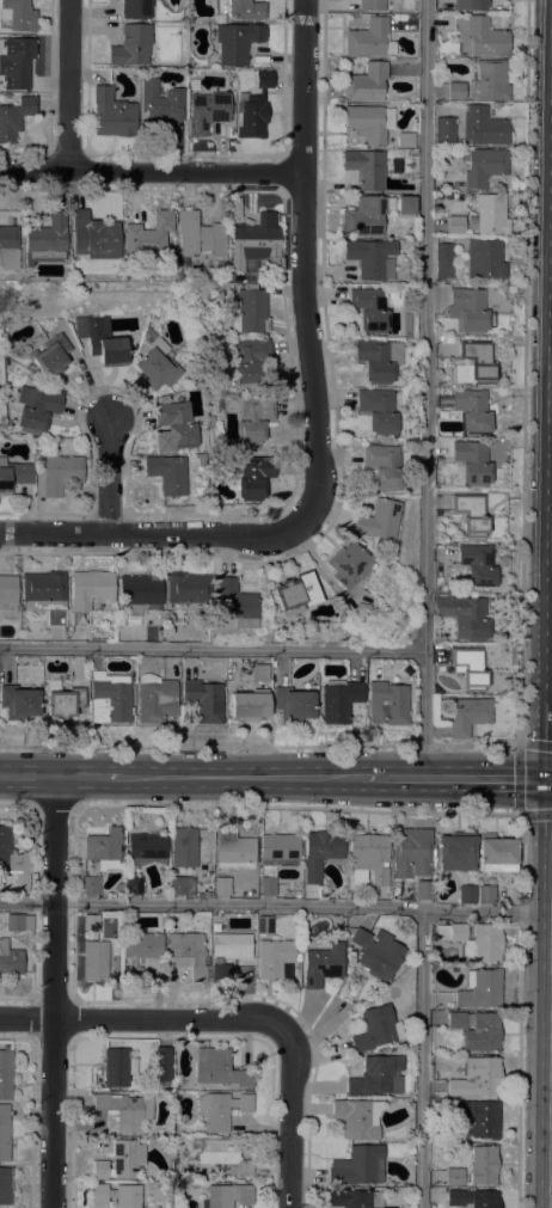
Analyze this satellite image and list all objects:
building: (375, 5)
building: (471, 5)
building: (136, 8)
building: (240, 8)
building: (18, 14)
building: (479, 37)
building: (369, 39)
building: (237, 43)
building: (130, 45)
building: (16, 62)
building: (491, 80)
building: (366, 82)
building: (194, 84)
road: (68, 86)
building: (455, 91)
building: (7, 97)
building: (160, 105)
building: (253, 109)
building: (207, 112)
building: (112, 114)
building: (14, 117)
building: (368, 122)
building: (483, 127)
building: (444, 129)
building: (406, 140)
building: (484, 166)
building: (366, 168)
road: (151, 172)
building: (405, 204)
building: (366, 215)
building: (487, 215)
building: (454, 225)
building: (147, 235)
building: (198, 235)
building: (93, 237)
building: (256, 237)
building: (44, 240)
building: (7, 246)
building: (370, 258)
building: (483, 259)
building: (442, 260)
building: (221, 292)
road: (302, 293)
building: (368, 309)
building: (250, 311)
building: (467, 311)
building: (406, 312)
building: (450, 339)
building: (105, 342)
building: (448, 349)
building: (51, 356)
building: (378, 360)
building: (249, 361)
building: (158, 362)
building: (474, 363)
road: (427, 388)
building: (442, 391)
building: (35, 409)
building: (376, 410)
building: (472, 411)
building: (252, 419)
building: (176, 423)
building: (37, 453)
building: (471, 461)
building: (382, 466)
building: (167, 473)
building: (13, 474)
building: (57, 474)
building: (253, 477)
road: (111, 478)
building: (195, 482)
building: (470, 514)
building: (376, 520)
road: (123, 534)
building: (346, 565)
building: (477, 565)
building: (186, 589)
building: (7, 591)
building: (88, 593)
building: (44, 594)
building: (294, 594)
building: (142, 595)
building: (441, 595)
building: (235, 605)
building: (465, 617)
building: (176, 618)
road: (522, 633)
road: (211, 648)
building: (470, 668)
building: (259, 673)
building: (109, 698)
building: (154, 699)
building: (63, 700)
building: (203, 700)
building: (339, 700)
building: (390, 701)
building: (18, 703)
building: (293, 704)
building: (249, 705)
building: (467, 716)
road: (27, 773)
road: (88, 774)
road: (241, 777)
road: (456, 779)
road: (520, 779)
road: (18, 804)
road: (55, 805)
road: (298, 805)
building: (184, 847)
building: (280, 847)
building: (147, 848)
building: (103, 850)
building: (233, 850)
building: (456, 851)
building: (321, 853)
building: (411, 853)
building: (496, 853)
building: (12, 856)
building: (368, 858)
building: (91, 885)
building: (133, 885)
building: (182, 885)
building: (221, 885)
building: (268, 885)
building: (424, 889)
building: (466, 894)
building: (296, 895)
building: (486, 895)
road: (276, 905)
building: (19, 922)
building: (90, 924)
building: (264, 925)
building: (473, 940)
building: (140, 949)
building: (228, 952)
building: (189, 953)
building: (376, 953)
building: (275, 958)
building: (10, 959)
building: (94, 961)
building: (321, 964)
road: (56, 991)
building: (482, 991)
road: (520, 1010)
road: (116, 1020)
building: (376, 1029)
building: (476, 1030)
road: (423, 1060)
building: (162, 1066)
building: (117, 1067)
building: (220, 1069)
building: (6, 1075)
building: (378, 1075)
building: (476, 1078)
road: (293, 1090)
building: (125, 1110)
building: (220, 1110)
building: (477, 1117)
building: (357, 1118)
building: (4, 1132)
road: (551, 1141)
building: (223, 1157)
building: (121, 1161)
building: (480, 1164)
building: (357, 1165)
building: (454, 1177)
building: (5, 1186)
building: (117, 1195)
building: (228, 1195)
building: (354, 1198)
building: (472, 1198)

